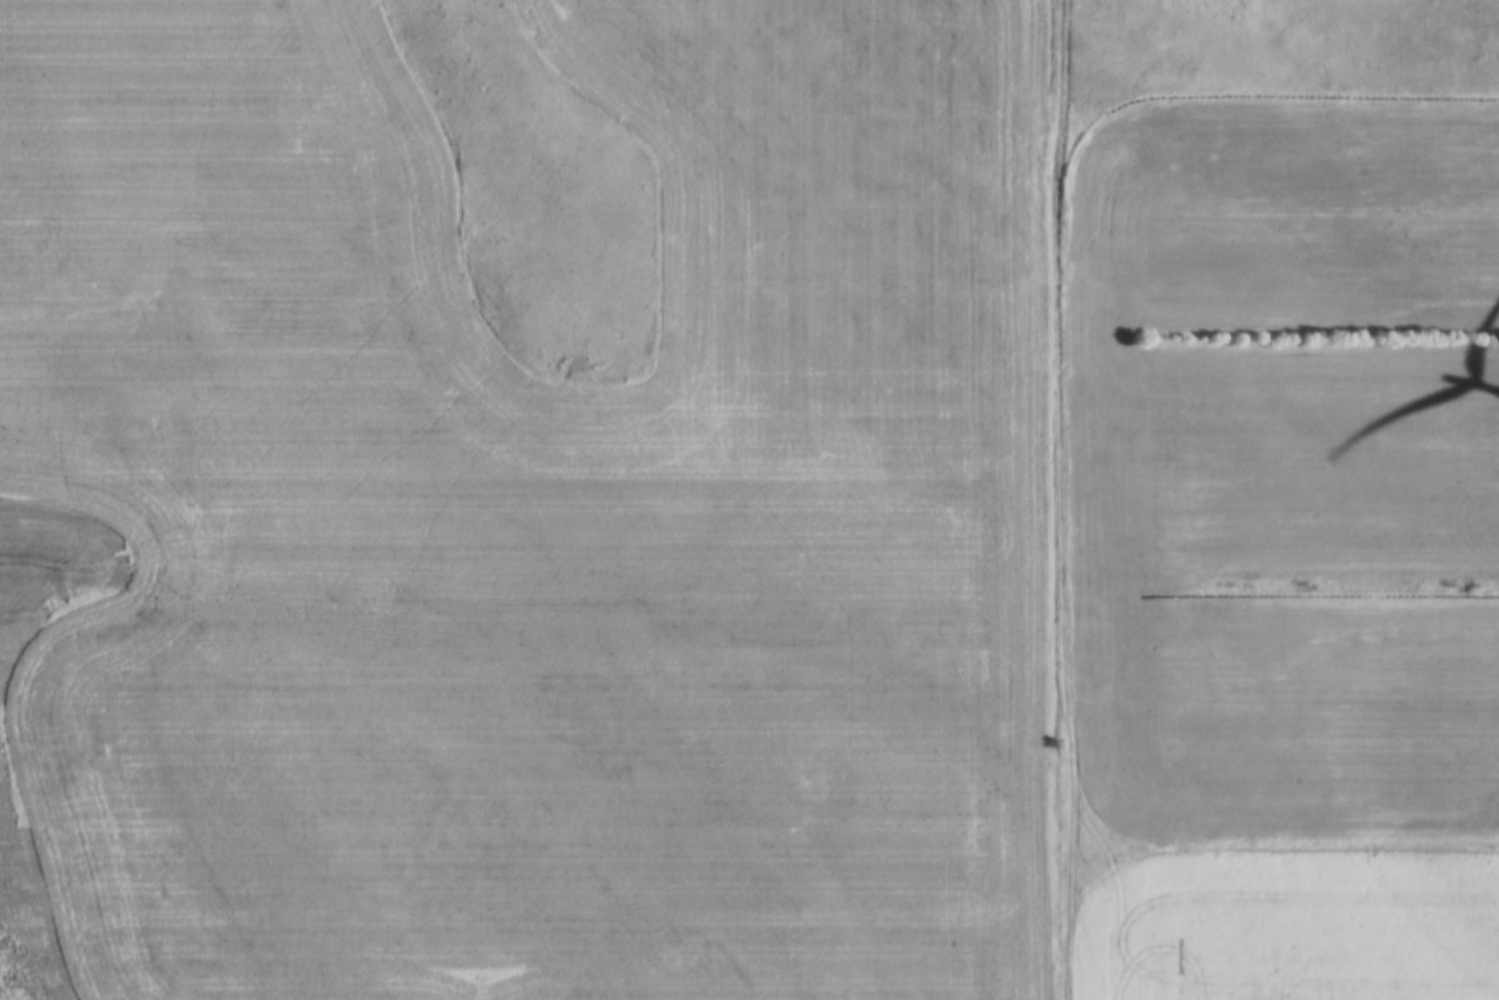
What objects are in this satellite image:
road: (1065, 44)

